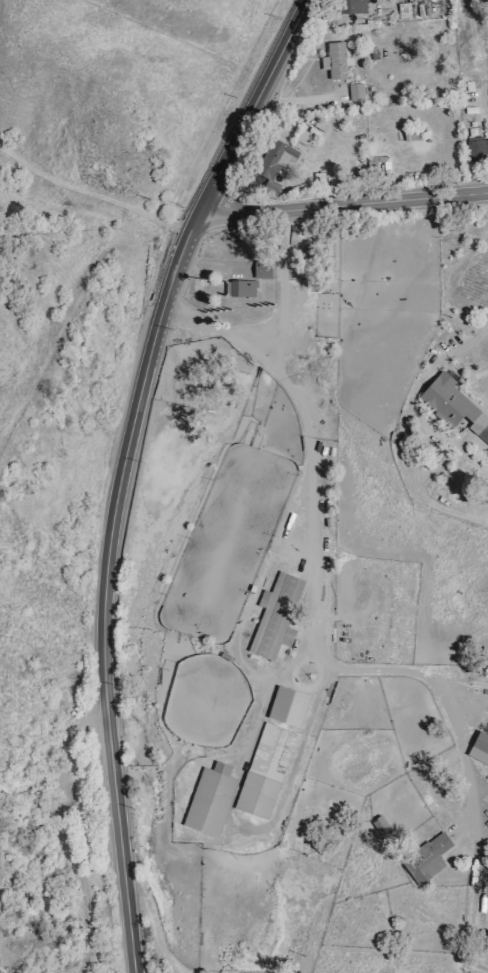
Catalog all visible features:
building: (482, 1)
building: (354, 6)
building: (337, 60)
building: (356, 91)
building: (415, 133)
building: (478, 149)
building: (285, 154)
road: (91, 192)
road: (345, 202)
building: (314, 255)
building: (264, 269)
building: (244, 288)
road: (284, 292)
road: (411, 398)
building: (455, 405)
road: (121, 468)
road: (310, 532)
building: (276, 616)
building: (289, 705)
road: (100, 720)
building: (480, 748)
building: (265, 770)
building: (211, 798)
building: (428, 857)
road: (78, 873)
road: (154, 923)

